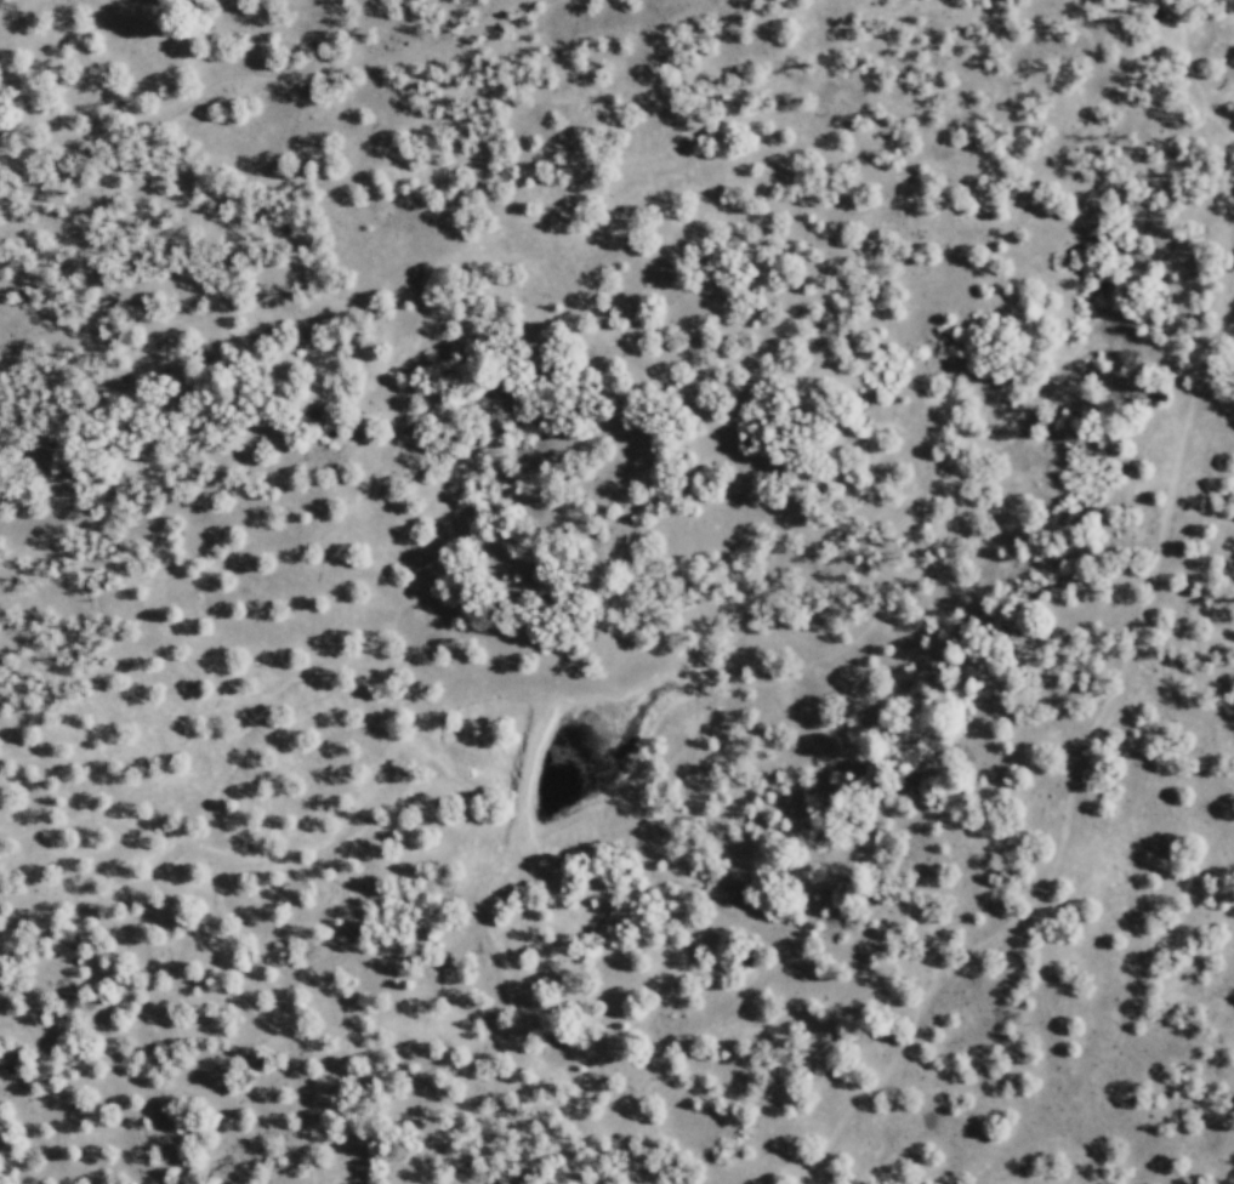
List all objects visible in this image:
road: (257, 79)

